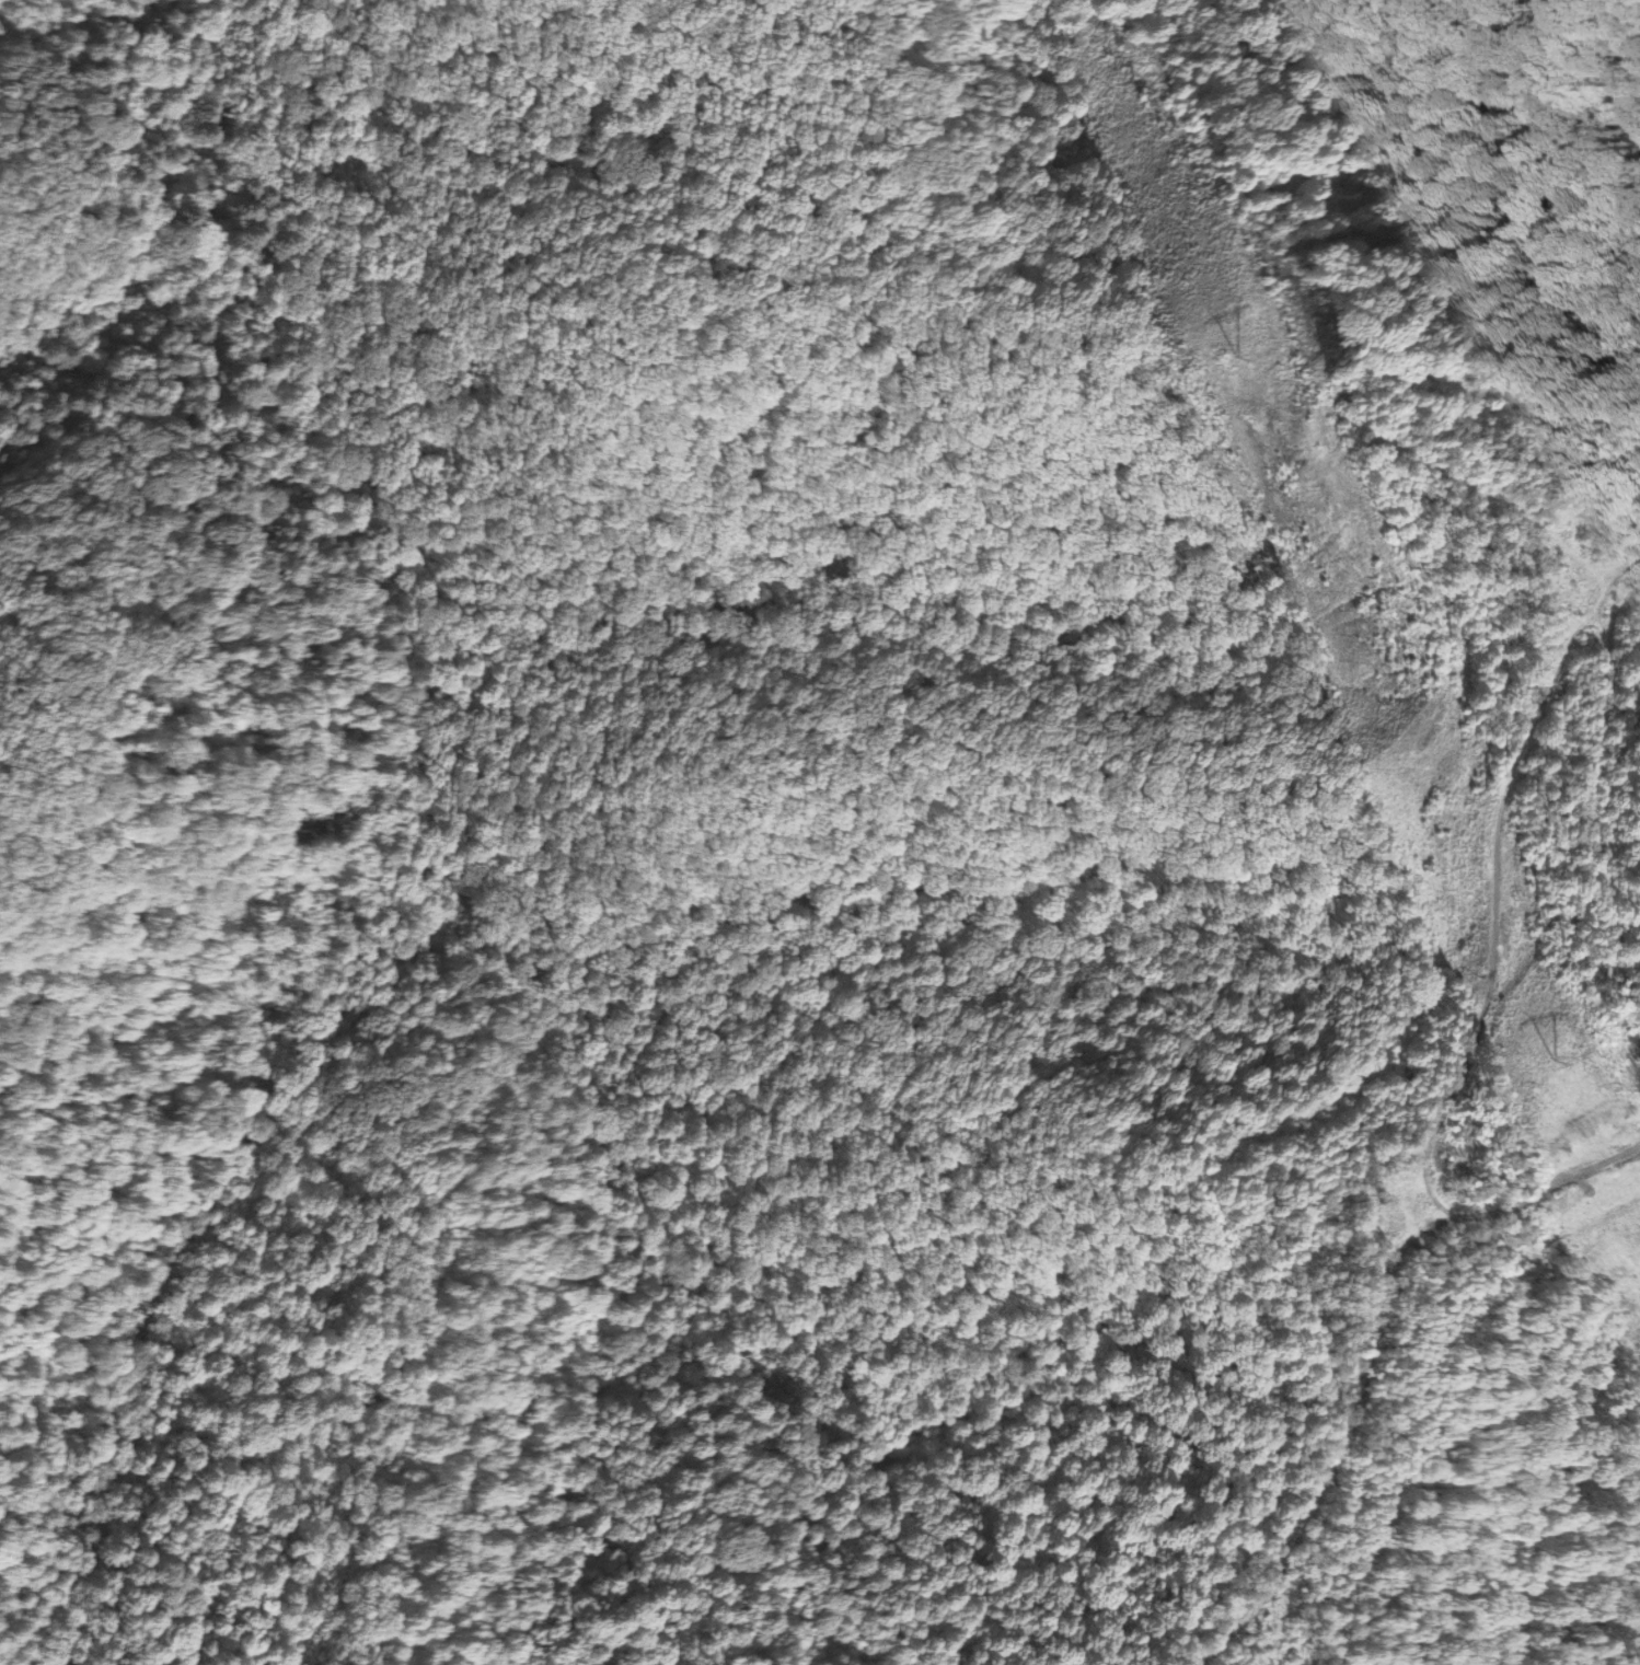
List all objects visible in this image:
power tower: (1237, 358)
power tower: (1560, 1062)

